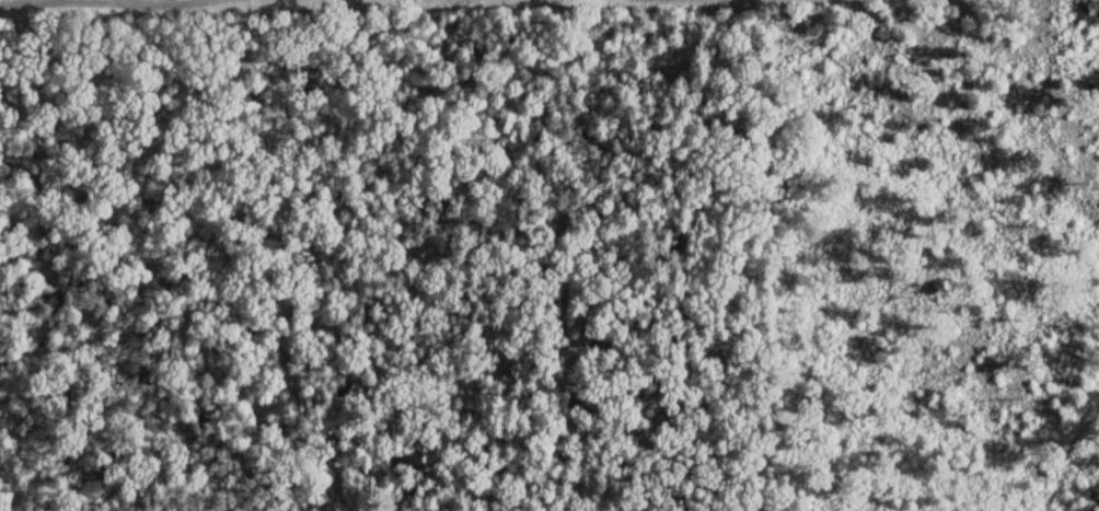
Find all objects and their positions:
road: (59, 275)
road: (455, 326)
road: (298, 408)

